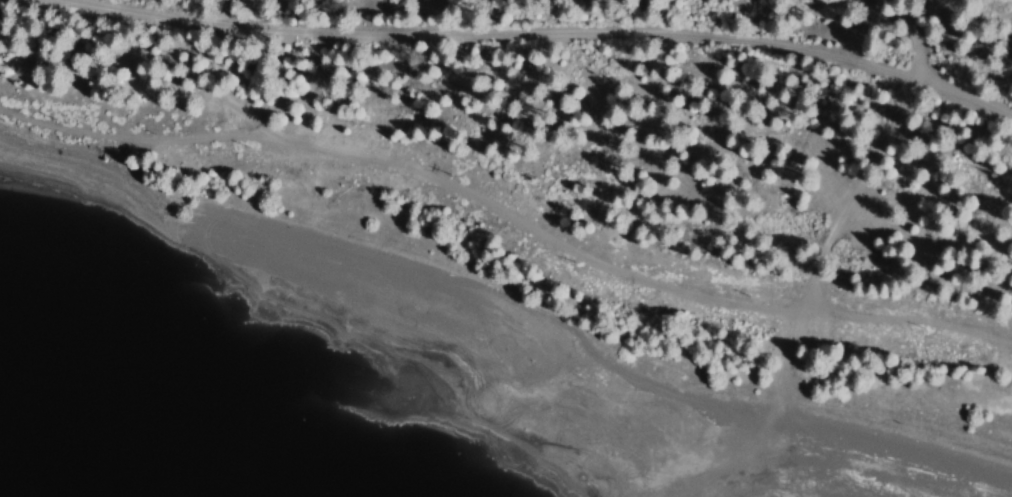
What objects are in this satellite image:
railway: (555, 31)
road: (847, 243)

